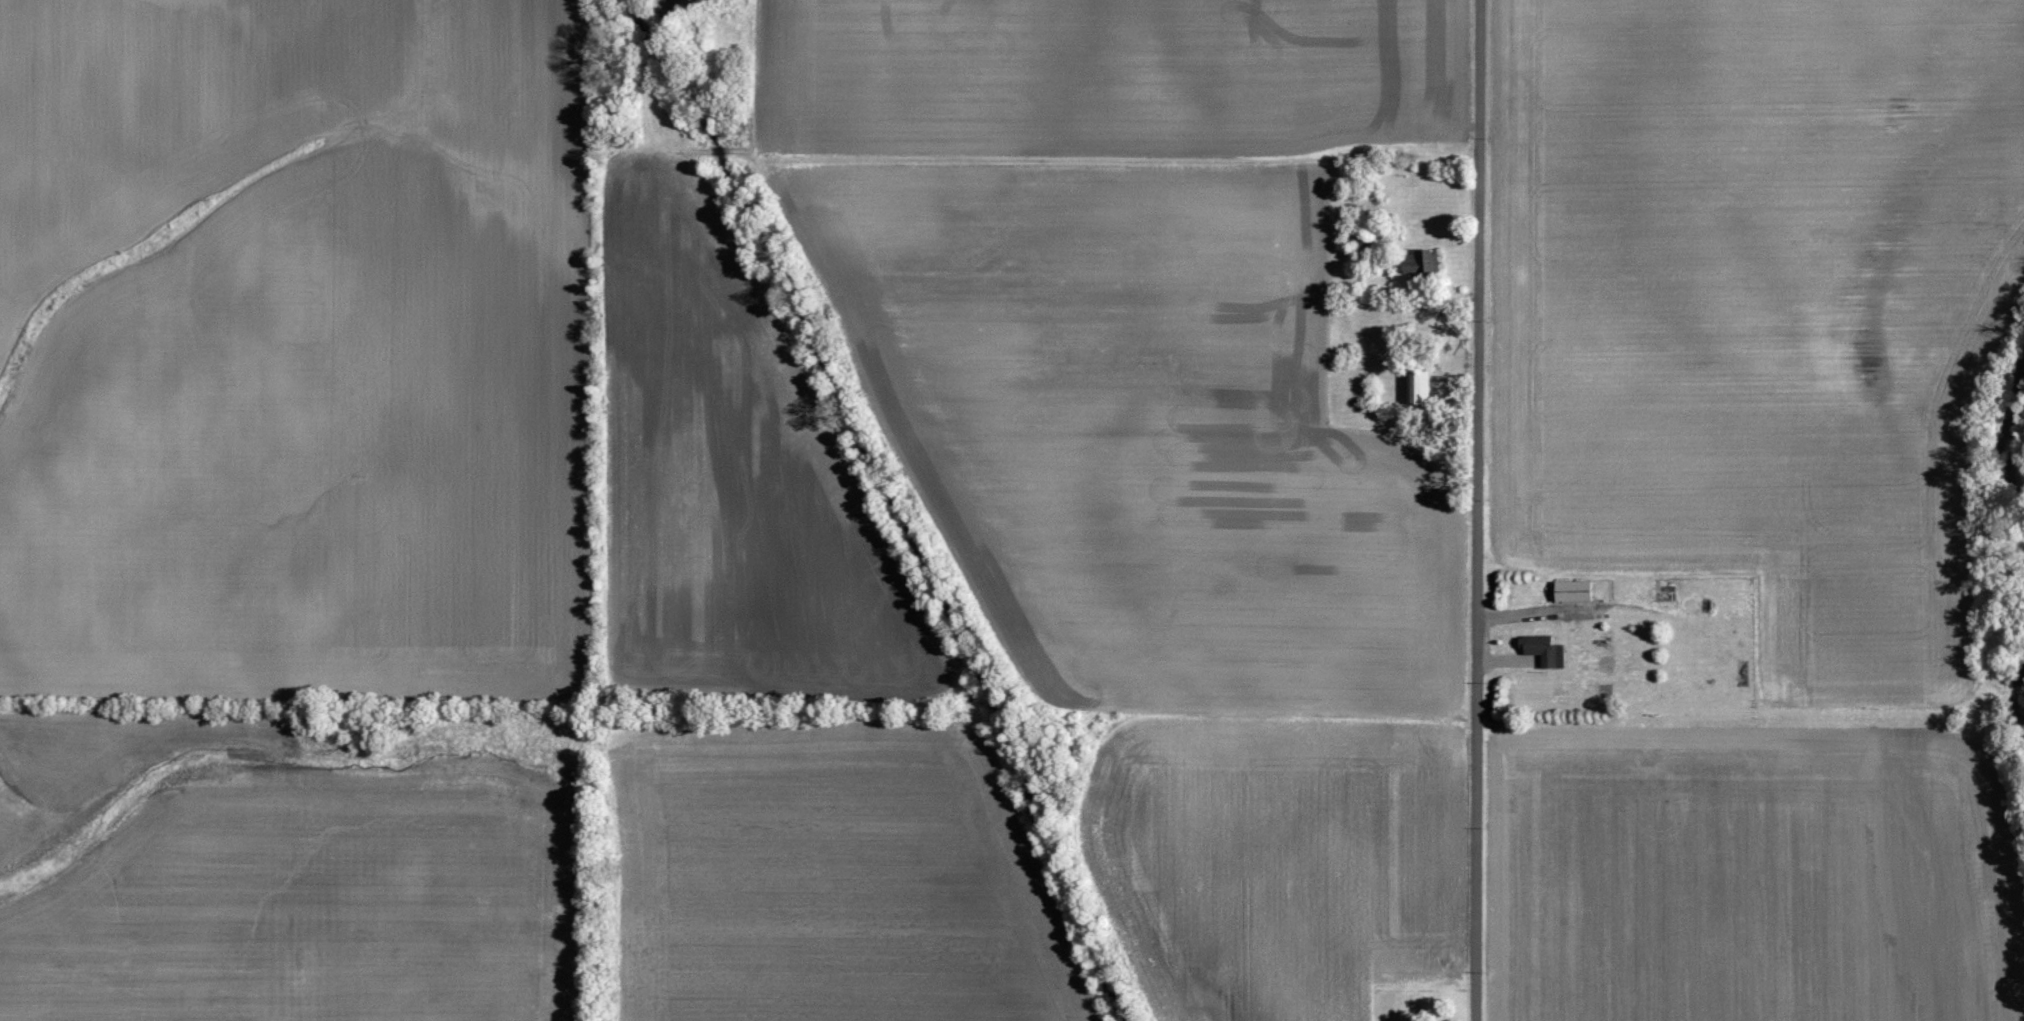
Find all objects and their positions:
road: (1079, 156)
building: (1423, 263)
road: (1478, 510)
building: (1579, 590)
building: (1549, 649)

